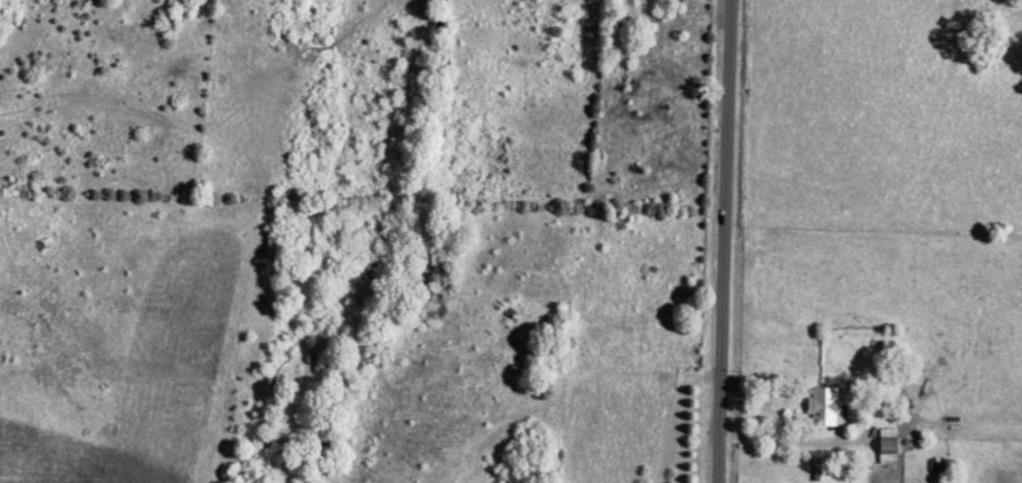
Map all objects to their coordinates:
road: (726, 241)
building: (829, 410)
building: (890, 449)
building: (822, 471)

